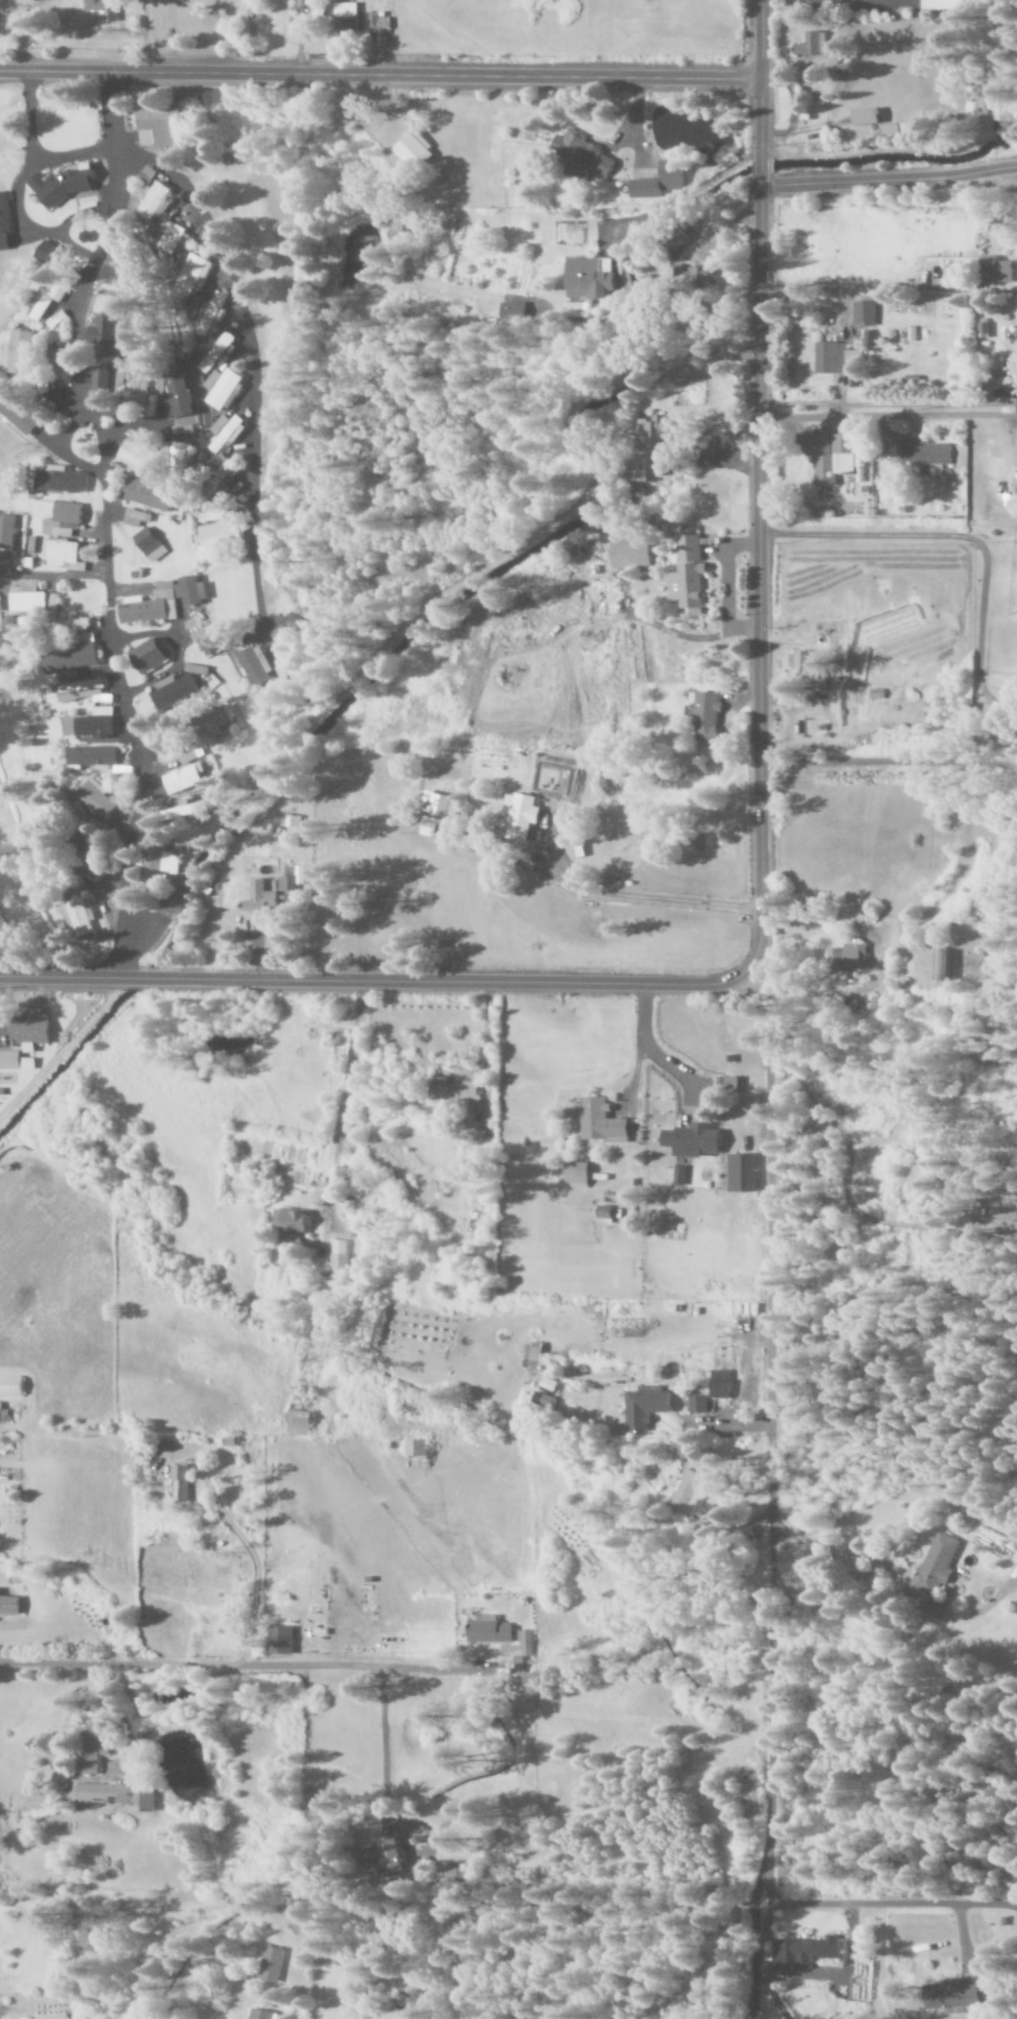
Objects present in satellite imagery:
building: (943, 4)
building: (104, 9)
building: (347, 10)
building: (373, 21)
building: (814, 45)
road: (379, 74)
building: (861, 117)
building: (160, 127)
building: (584, 152)
building: (417, 154)
building: (147, 175)
road: (886, 180)
building: (658, 181)
building: (64, 184)
building: (155, 202)
building: (5, 223)
building: (170, 239)
building: (992, 270)
building: (192, 274)
building: (590, 278)
building: (701, 279)
building: (45, 300)
building: (513, 313)
building: (861, 314)
building: (209, 320)
building: (106, 329)
building: (19, 353)
building: (217, 353)
building: (829, 358)
building: (211, 380)
building: (112, 381)
building: (224, 389)
building: (141, 390)
building: (999, 391)
building: (180, 396)
building: (19, 415)
building: (225, 432)
building: (651, 446)
building: (182, 449)
building: (829, 455)
building: (141, 456)
building: (920, 457)
building: (216, 461)
building: (226, 472)
building: (61, 480)
road: (754, 483)
building: (149, 495)
building: (136, 517)
building: (64, 520)
building: (217, 528)
building: (7, 530)
building: (150, 544)
building: (633, 552)
building: (64, 554)
building: (689, 575)
building: (193, 590)
building: (28, 599)
building: (151, 605)
building: (210, 646)
building: (74, 647)
building: (151, 655)
building: (257, 665)
building: (808, 668)
building: (83, 691)
building: (175, 692)
building: (202, 702)
building: (708, 718)
building: (96, 727)
building: (94, 756)
building: (189, 759)
building: (187, 778)
building: (557, 781)
building: (96, 797)
building: (443, 803)
building: (187, 809)
building: (520, 816)
building: (162, 861)
building: (292, 877)
building: (259, 898)
building: (78, 917)
building: (850, 956)
building: (945, 965)
road: (375, 980)
building: (31, 1033)
building: (15, 1061)
building: (456, 1092)
building: (604, 1122)
building: (696, 1140)
building: (744, 1173)
building: (578, 1174)
building: (679, 1176)
road: (840, 1184)
building: (1006, 1220)
building: (292, 1224)
building: (339, 1255)
building: (536, 1357)
building: (717, 1383)
building: (12, 1387)
building: (694, 1404)
building: (641, 1409)
building: (303, 1424)
building: (416, 1448)
building: (183, 1483)
building: (685, 1490)
building: (980, 1539)
road: (766, 1547)
building: (934, 1563)
building: (485, 1630)
building: (282, 1641)
building: (523, 1642)
road: (279, 1668)
building: (95, 1746)
building: (119, 1796)
building: (381, 1856)
building: (802, 1952)
building: (271, 1963)
building: (946, 1994)
building: (260, 2014)

